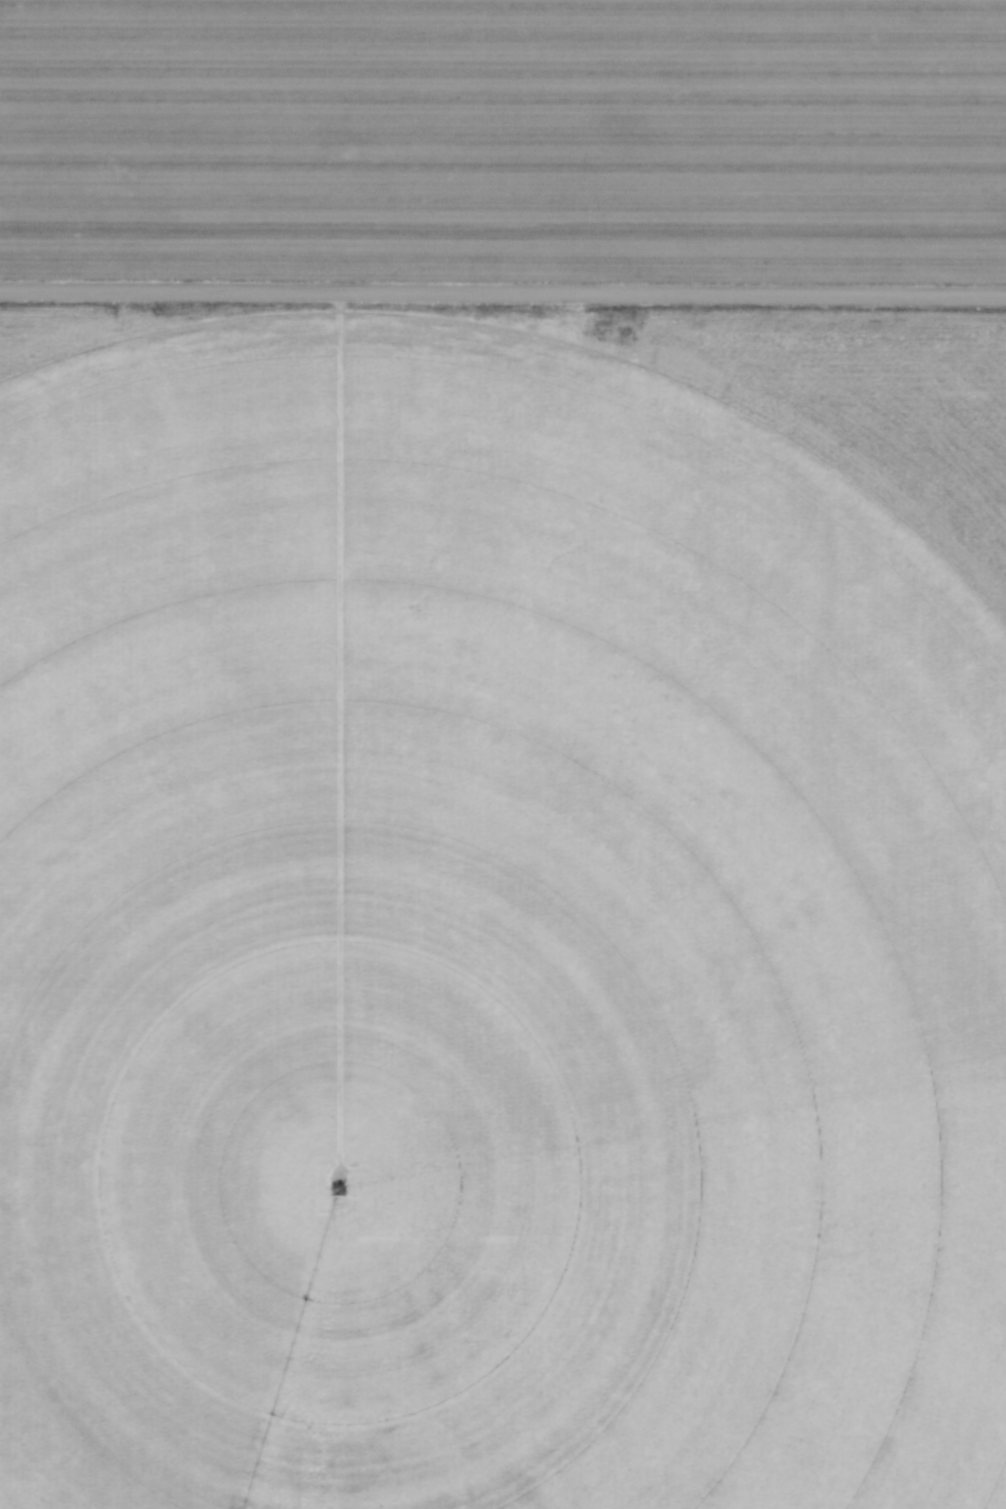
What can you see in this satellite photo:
crop: (505, 139)
road: (503, 291)
crop: (488, 931)

